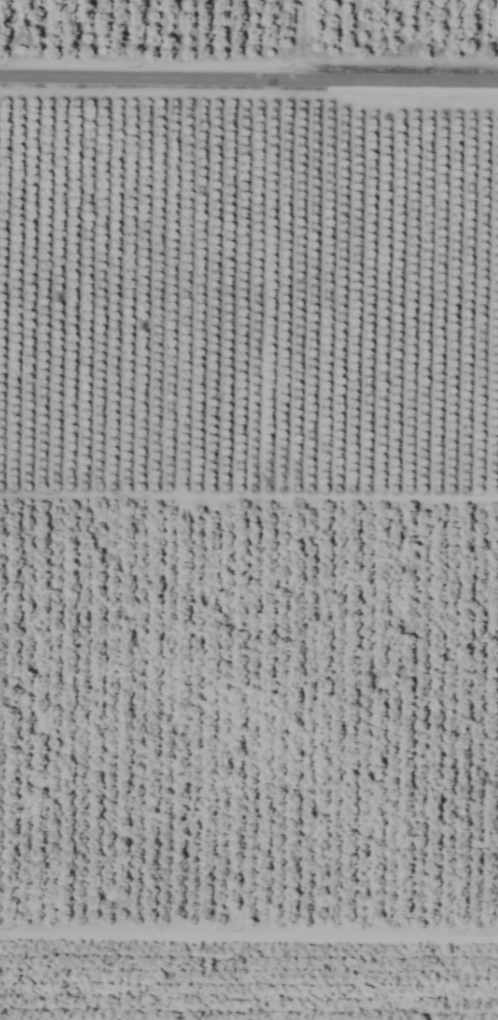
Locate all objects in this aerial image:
road: (249, 76)
road: (249, 494)
crop: (249, 510)
road: (249, 933)

